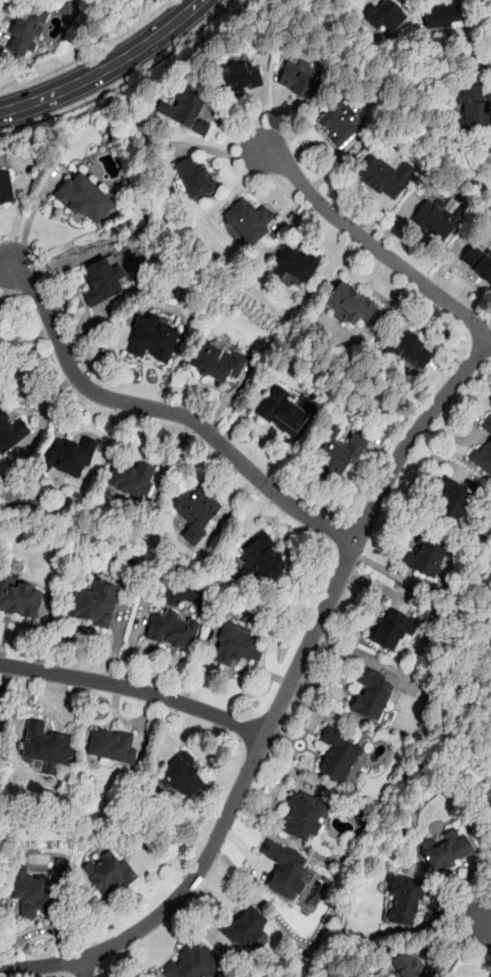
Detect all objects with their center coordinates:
building: (68, 10)
building: (385, 16)
building: (443, 16)
building: (26, 31)
road: (87, 52)
road: (107, 67)
building: (238, 76)
building: (300, 81)
road: (125, 83)
building: (474, 106)
building: (187, 110)
building: (338, 126)
building: (490, 152)
building: (384, 176)
building: (197, 181)
building: (6, 187)
building: (84, 199)
building: (438, 218)
building: (247, 220)
road: (373, 247)
building: (478, 261)
building: (295, 265)
building: (102, 281)
building: (349, 304)
building: (153, 339)
road: (24, 342)
building: (411, 350)
building: (216, 362)
road: (165, 410)
building: (284, 411)
building: (487, 425)
building: (11, 431)
building: (340, 455)
building: (69, 457)
building: (484, 457)
building: (130, 478)
building: (454, 502)
building: (195, 510)
building: (262, 556)
building: (424, 557)
building: (20, 598)
building: (95, 604)
building: (172, 629)
building: (392, 630)
road: (87, 632)
building: (237, 645)
road: (6, 677)
road: (135, 689)
building: (372, 695)
road: (281, 699)
building: (0, 719)
building: (44, 745)
building: (111, 745)
building: (337, 755)
building: (183, 776)
building: (302, 816)
building: (447, 851)
building: (284, 869)
building: (110, 874)
building: (32, 891)
building: (404, 901)
road: (481, 921)
building: (247, 927)
building: (193, 963)
building: (406, 964)
road: (83, 968)

